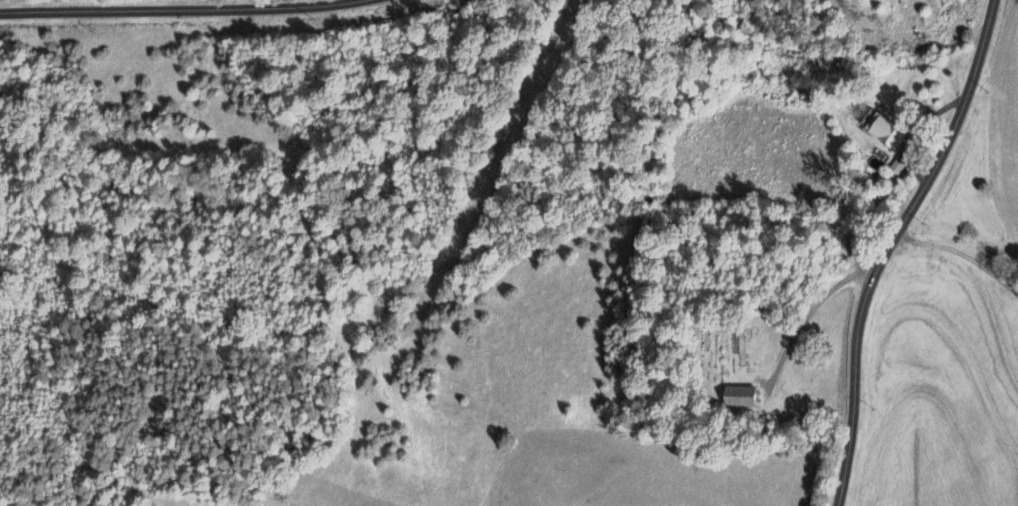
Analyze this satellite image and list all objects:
road: (185, 11)
building: (888, 132)
building: (899, 168)
road: (889, 245)
road: (961, 256)
road: (806, 315)
park: (727, 346)
building: (747, 400)

